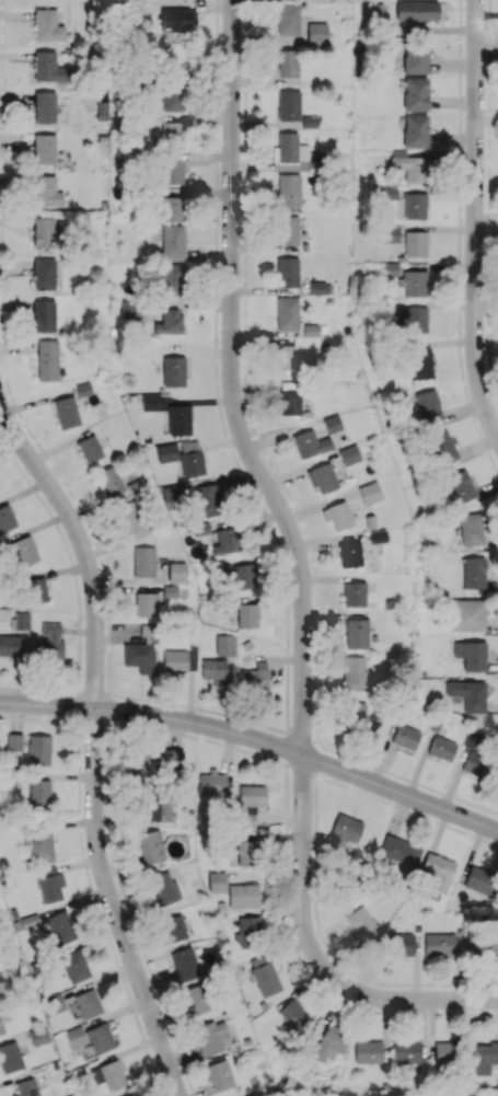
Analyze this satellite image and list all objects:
building: (416, 11)
building: (178, 20)
building: (288, 20)
building: (47, 25)
building: (316, 33)
road: (486, 43)
building: (415, 58)
building: (288, 62)
building: (47, 67)
building: (415, 93)
building: (172, 96)
building: (288, 104)
building: (45, 106)
building: (101, 109)
building: (172, 130)
building: (414, 130)
building: (44, 149)
building: (292, 153)
building: (409, 165)
building: (172, 171)
building: (288, 189)
building: (46, 192)
building: (414, 206)
building: (170, 209)
road: (475, 219)
building: (287, 229)
road: (486, 229)
building: (44, 232)
building: (387, 234)
building: (172, 242)
building: (415, 243)
building: (390, 268)
building: (287, 272)
building: (44, 274)
building: (173, 279)
building: (414, 282)
building: (320, 288)
building: (130, 309)
building: (287, 313)
building: (44, 315)
building: (412, 320)
building: (169, 321)
building: (310, 330)
building: (282, 356)
building: (47, 359)
building: (420, 362)
building: (173, 371)
road: (231, 384)
building: (289, 397)
building: (150, 402)
building: (427, 406)
building: (66, 412)
road: (494, 415)
building: (178, 419)
building: (332, 424)
building: (310, 443)
building: (443, 447)
building: (89, 449)
building: (165, 452)
building: (349, 454)
building: (190, 458)
building: (322, 477)
building: (109, 481)
building: (460, 486)
building: (369, 493)
building: (208, 499)
building: (337, 515)
building: (130, 517)
building: (5, 518)
building: (472, 528)
building: (378, 535)
building: (225, 541)
building: (23, 551)
building: (349, 554)
building: (143, 562)
building: (176, 572)
building: (474, 573)
building: (243, 576)
building: (35, 590)
building: (354, 593)
building: (146, 604)
building: (468, 614)
building: (246, 615)
building: (357, 633)
building: (48, 643)
building: (11, 645)
building: (225, 645)
building: (471, 655)
building: (178, 660)
building: (212, 669)
building: (355, 669)
building: (255, 677)
street lamp: (69, 694)
building: (468, 695)
street lamp: (198, 711)
building: (356, 713)
road: (244, 735)
building: (405, 737)
building: (14, 741)
road: (93, 745)
building: (38, 749)
street lamp: (323, 749)
building: (441, 749)
building: (473, 754)
building: (155, 760)
street lamp: (406, 781)
building: (212, 783)
building: (38, 792)
building: (250, 803)
building: (149, 807)
road: (487, 824)
building: (40, 845)
building: (151, 846)
building: (399, 851)
building: (245, 852)
road: (302, 865)
building: (438, 870)
building: (479, 879)
building: (216, 881)
building: (49, 884)
building: (163, 888)
building: (243, 895)
building: (361, 923)
building: (60, 927)
building: (174, 928)
building: (247, 931)
building: (488, 943)
building: (401, 944)
building: (441, 944)
building: (184, 962)
building: (74, 966)
building: (264, 974)
road: (407, 999)
building: (195, 1000)
building: (86, 1003)
building: (292, 1013)
building: (1, 1028)
building: (38, 1035)
building: (74, 1036)
building: (212, 1037)
building: (101, 1038)
building: (329, 1042)
road: (300, 1049)
building: (367, 1051)
building: (406, 1051)
building: (443, 1053)
building: (10, 1057)
building: (480, 1058)
building: (220, 1074)
building: (108, 1075)
building: (27, 1087)

